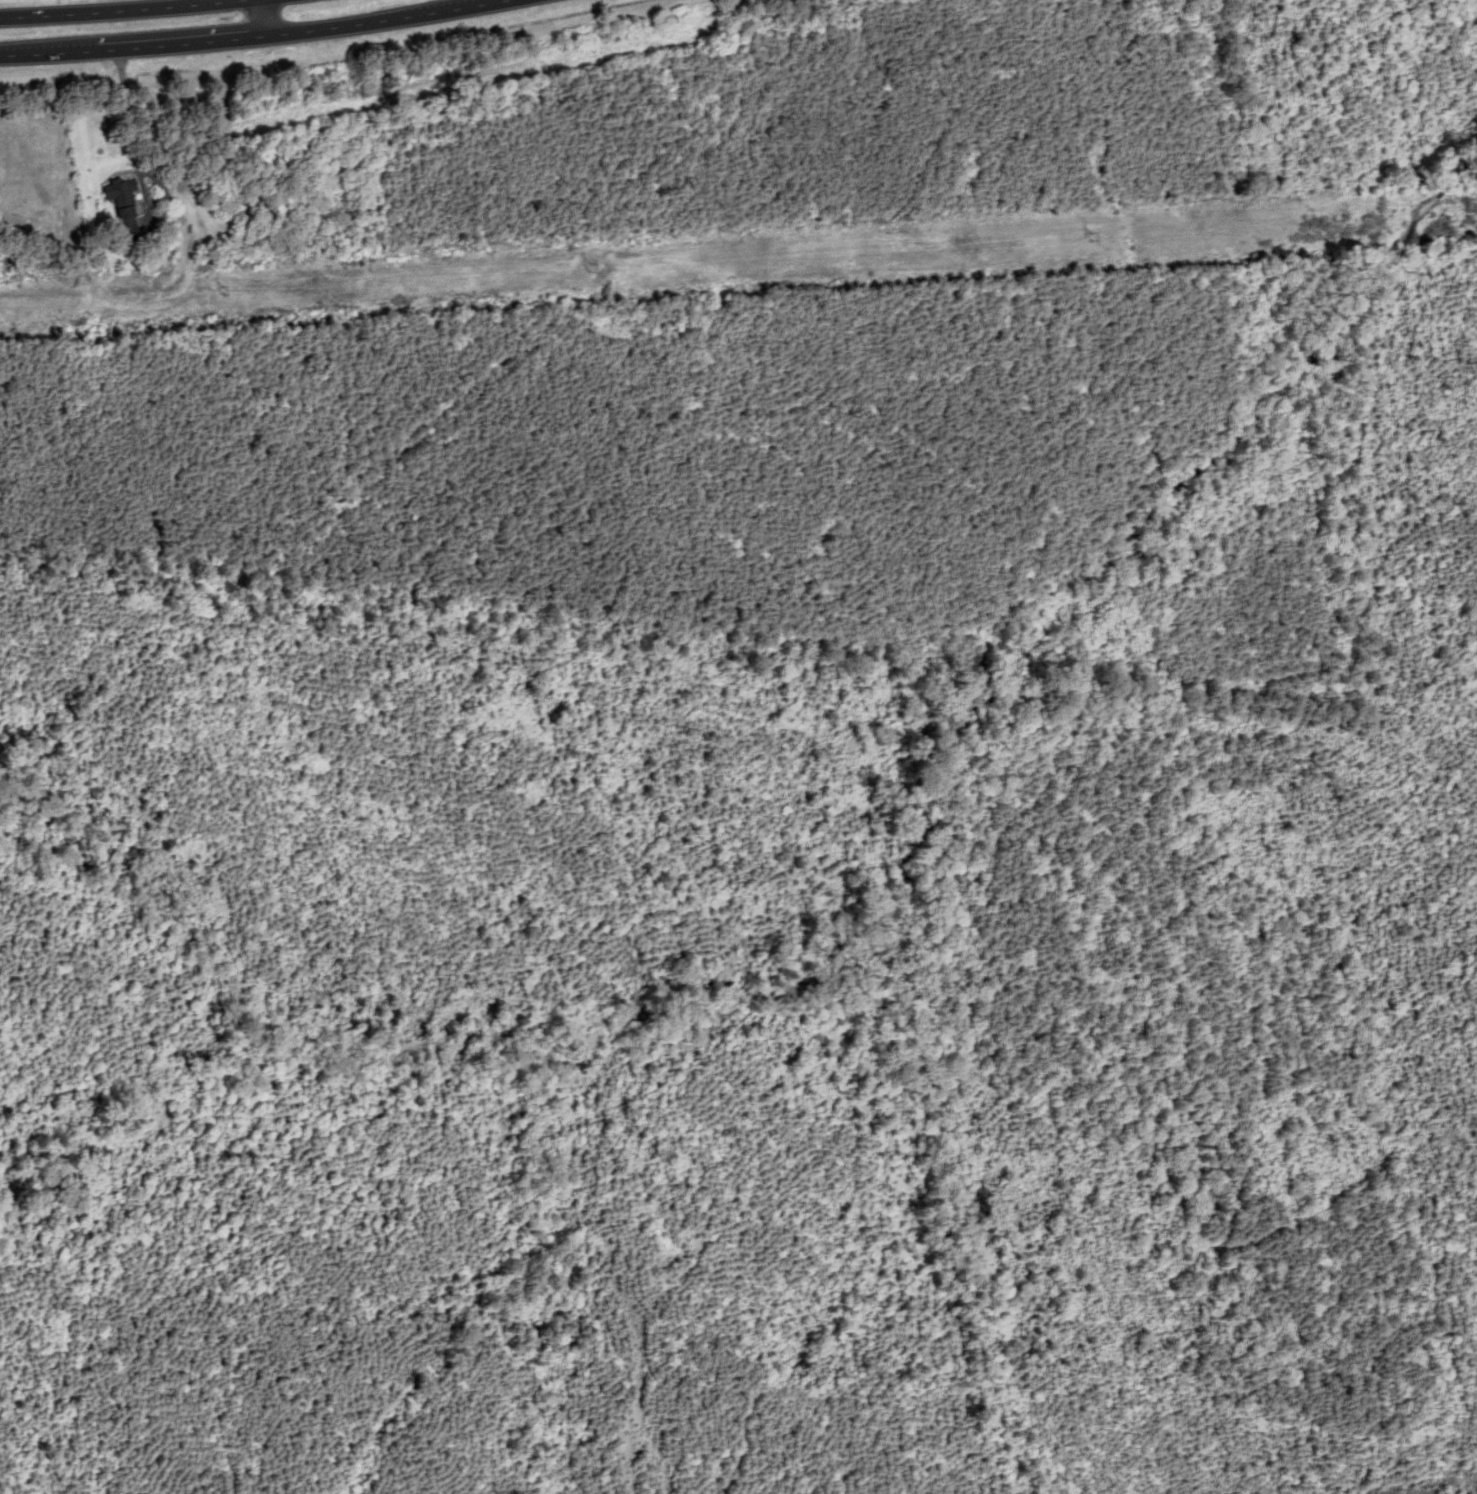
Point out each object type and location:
road: (505, 1)
road: (120, 10)
road: (263, 18)
road: (382, 20)
road: (148, 46)
road: (15, 54)
building: (123, 207)

